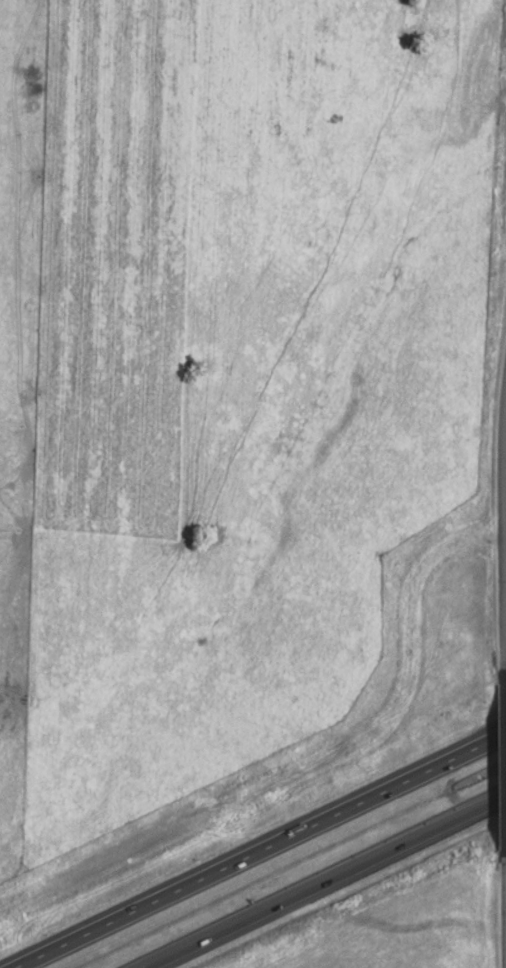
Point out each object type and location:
road: (504, 624)
road: (503, 764)
road: (261, 849)
road: (322, 879)
road: (503, 912)

